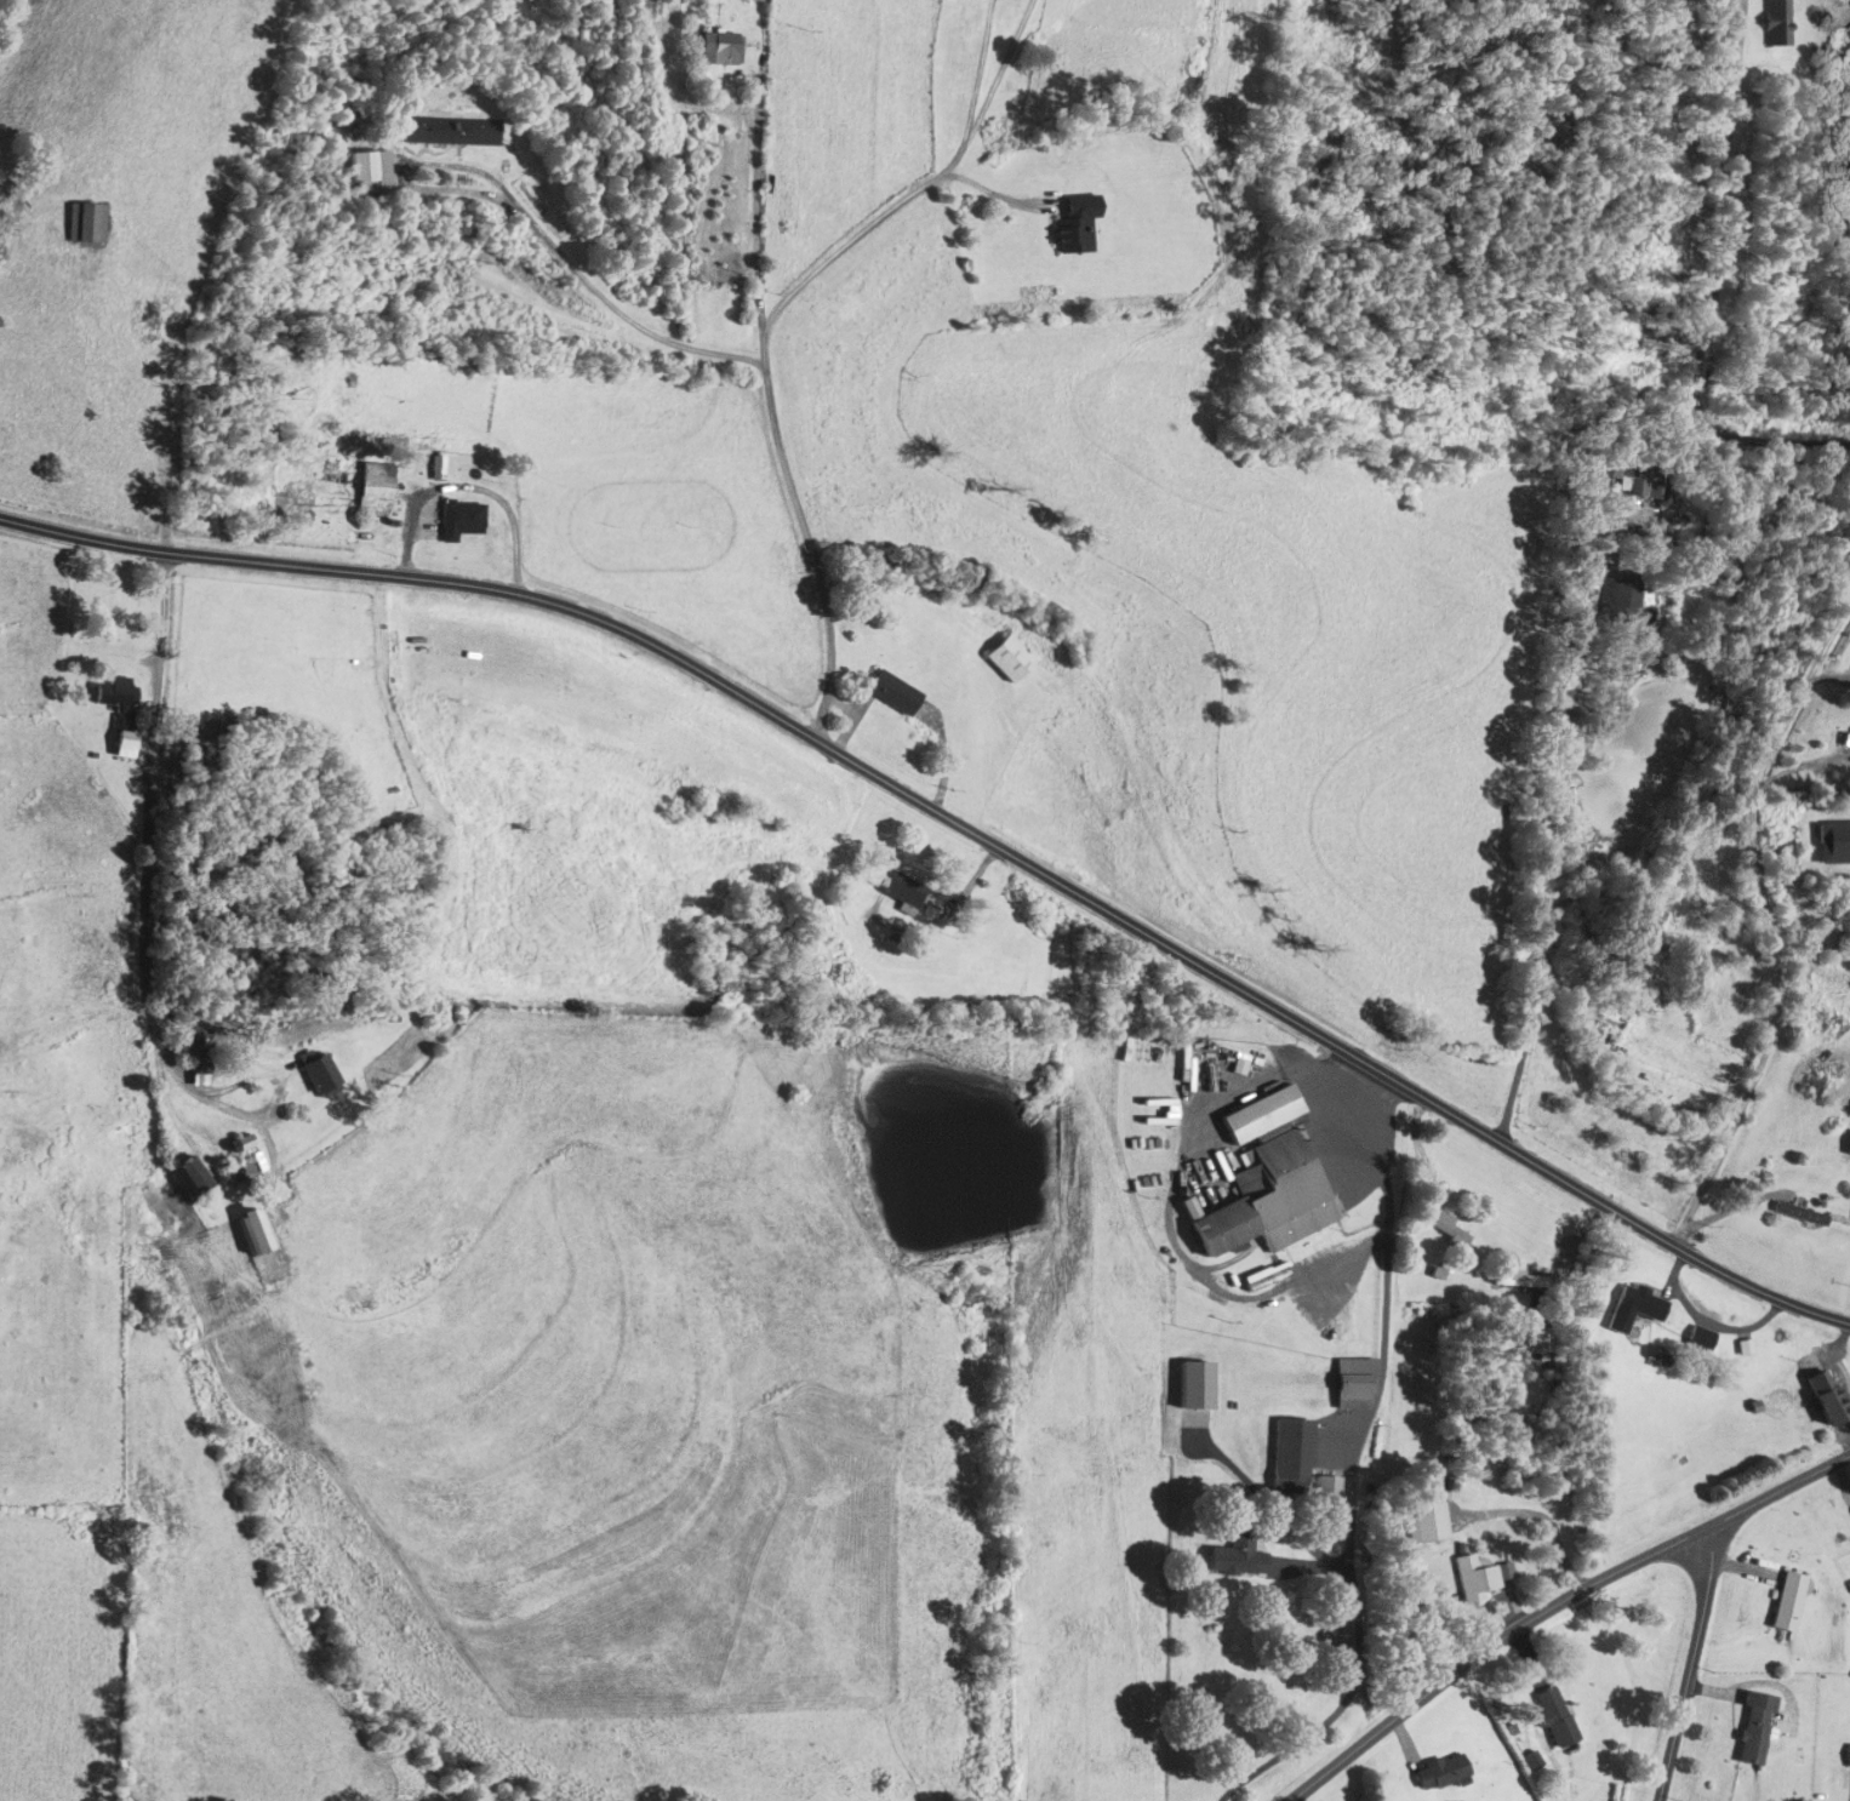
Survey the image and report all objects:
building: (1776, 23)
building: (721, 48)
building: (451, 131)
road: (758, 168)
building: (371, 173)
building: (86, 223)
building: (1077, 224)
road: (594, 288)
road: (1717, 288)
road: (770, 322)
building: (1625, 467)
building: (341, 481)
building: (461, 520)
building: (1622, 602)
building: (1010, 658)
building: (892, 692)
building: (122, 714)
building: (1848, 739)
road: (1802, 764)
road: (958, 823)
building: (1840, 845)
road: (147, 871)
building: (904, 896)
road: (1536, 904)
road: (1769, 926)
building: (1240, 1070)
road: (1238, 1071)
building: (202, 1074)
building: (321, 1077)
building: (242, 1144)
building: (242, 1172)
building: (192, 1177)
building: (1267, 1182)
building: (1802, 1216)
building: (1445, 1225)
building: (255, 1233)
road: (1388, 1263)
building: (1520, 1282)
building: (1634, 1310)
building: (1702, 1339)
building: (1354, 1384)
building: (1828, 1399)
building: (1291, 1457)
building: (1327, 1500)
building: (1434, 1517)
road: (1543, 1519)
building: (1239, 1554)
building: (1475, 1577)
building: (1788, 1601)
road: (1555, 1605)
road: (1691, 1664)
road: (1352, 1686)
building: (1554, 1716)
building: (1755, 1728)
building: (1441, 1771)

